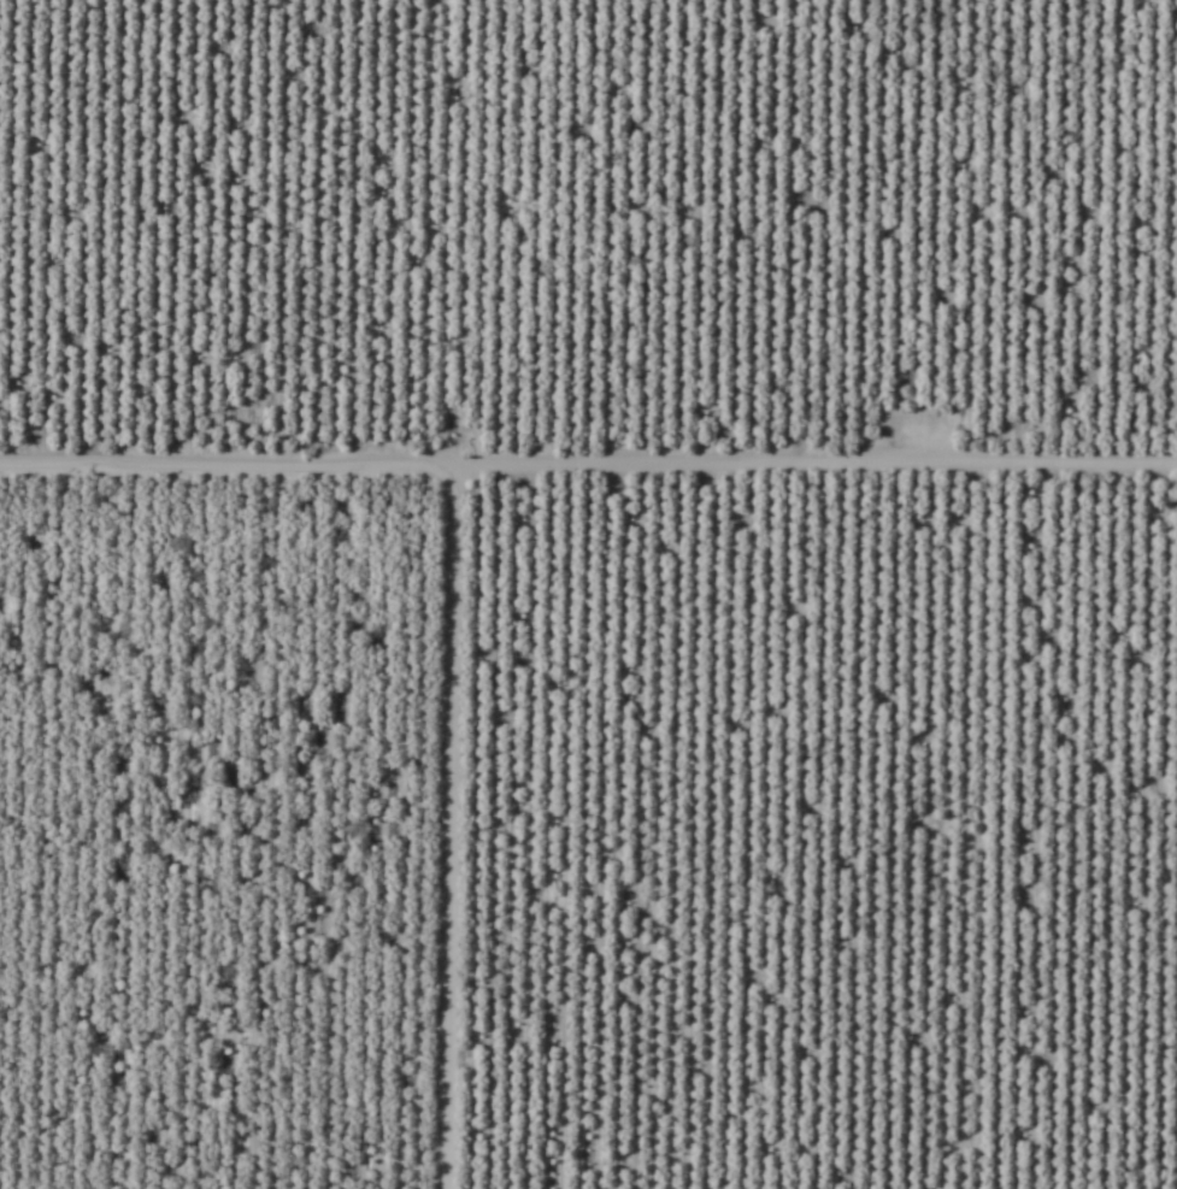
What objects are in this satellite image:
crop: (588, 594)

